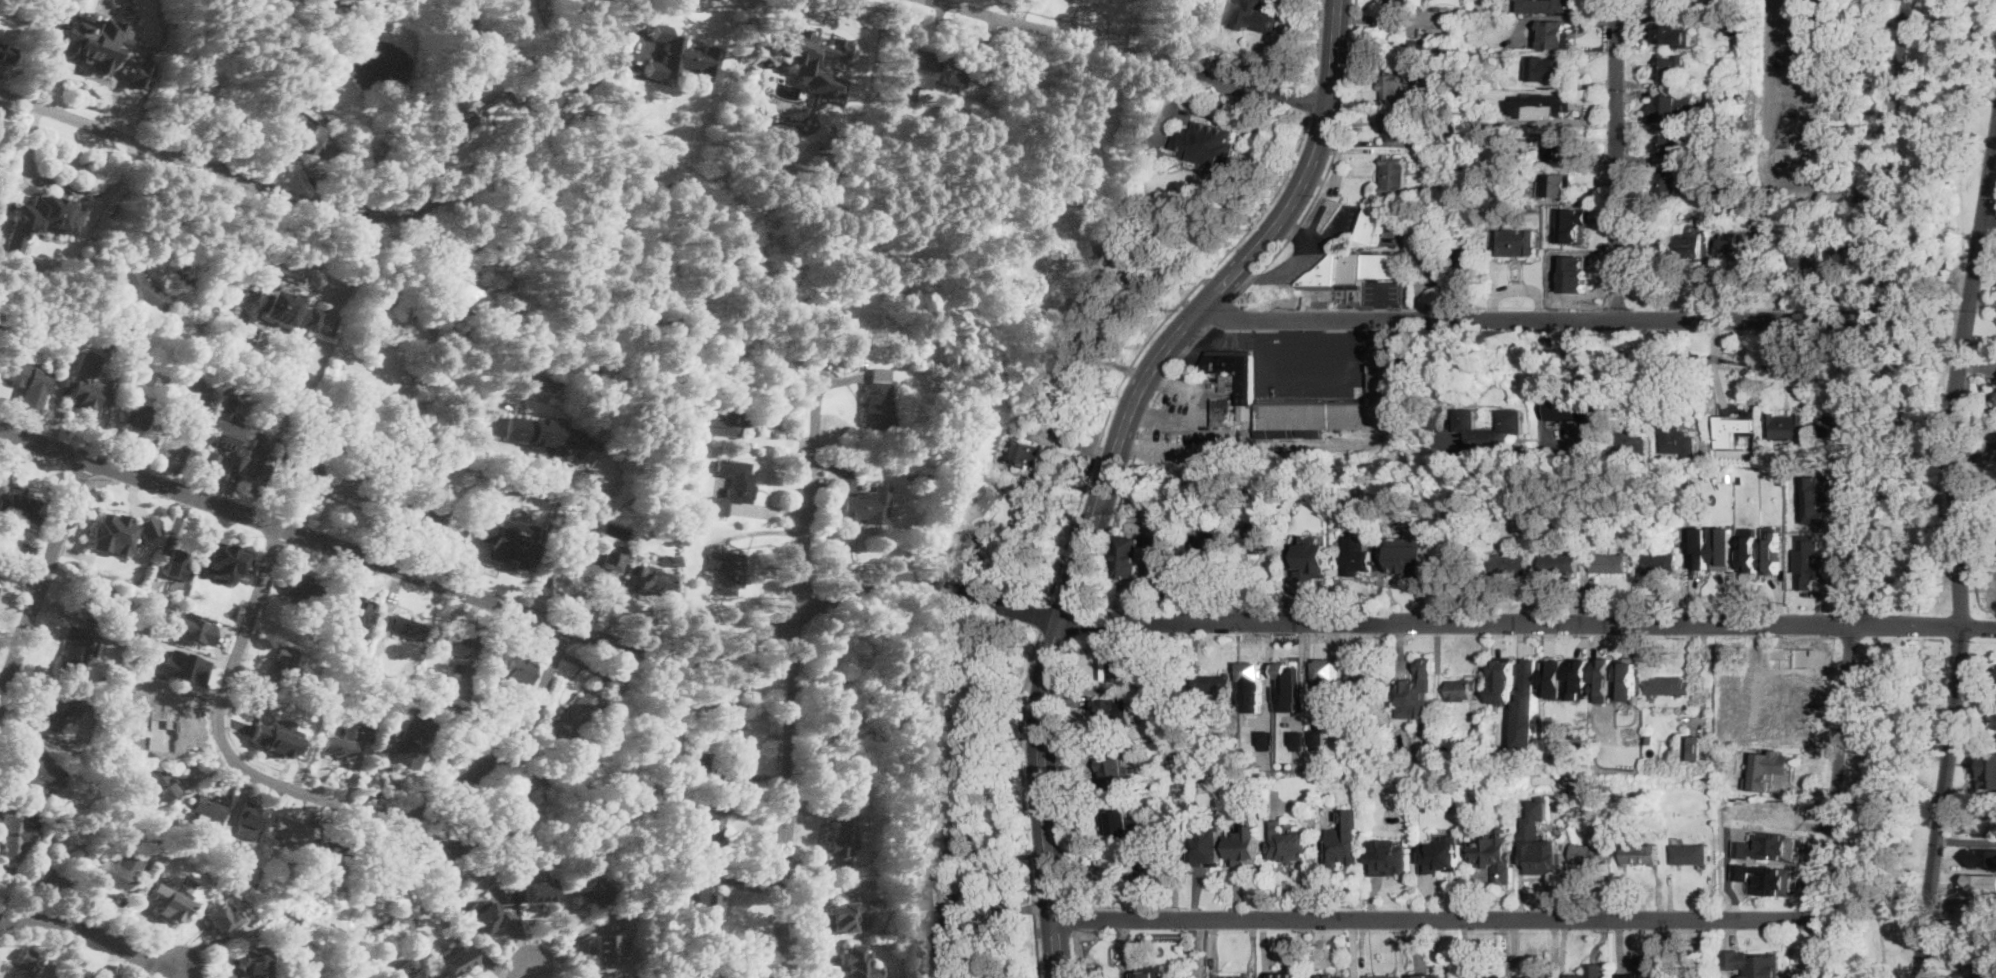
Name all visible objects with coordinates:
building: (1840, 0)
building: (1396, 2)
building: (1664, 2)
building: (1789, 2)
building: (1251, 5)
building: (1555, 7)
building: (1708, 7)
road: (593, 23)
building: (1736, 25)
building: (1553, 34)
building: (1664, 34)
building: (1798, 34)
building: (92, 43)
road: (1315, 45)
building: (821, 50)
building: (4, 53)
road: (1130, 53)
building: (1481, 54)
building: (1722, 54)
building: (682, 57)
building: (1667, 66)
building: (1556, 67)
building: (938, 68)
building: (868, 69)
building: (1805, 70)
building: (140, 73)
building: (1391, 84)
building: (1744, 95)
building: (1728, 96)
road: (1310, 101)
building: (1557, 108)
building: (1664, 108)
building: (1805, 108)
building: (1103, 115)
building: (452, 126)
building: (1390, 126)
building: (303, 139)
building: (1213, 144)
building: (1804, 144)
building: (1554, 146)
building: (1672, 146)
road: (1615, 159)
road: (1331, 165)
building: (1394, 175)
building: (1799, 179)
building: (1666, 185)
building: (1556, 186)
road: (63, 187)
building: (1727, 189)
building: (1044, 193)
building: (1403, 209)
building: (1700, 211)
road: (354, 213)
building: (1715, 214)
building: (1557, 217)
road: (1990, 217)
building: (41, 218)
building: (1372, 225)
building: (1850, 233)
building: (1515, 240)
building: (1573, 241)
road: (1314, 242)
building: (1650, 243)
building: (1686, 244)
road: (1232, 246)
building: (1431, 246)
building: (1727, 246)
building: (1762, 247)
building: (1805, 253)
building: (1055, 254)
building: (1468, 257)
road: (244, 261)
building: (468, 262)
building: (1836, 264)
road: (223, 265)
road: (514, 269)
building: (1352, 270)
road: (1278, 272)
road: (1934, 287)
building: (453, 290)
building: (143, 293)
park: (1926, 293)
building: (277, 305)
building: (2, 314)
road: (1223, 314)
road: (1902, 316)
road: (1536, 318)
road: (1303, 338)
road: (1659, 343)
road: (1092, 350)
road: (1126, 371)
building: (28, 377)
building: (1234, 377)
building: (185, 381)
building: (1995, 391)
building: (86, 397)
road: (1543, 397)
building: (1716, 397)
building: (878, 402)
building: (1331, 408)
building: (1581, 408)
road: (1109, 411)
road: (1202, 412)
building: (1224, 412)
building: (670, 415)
building: (137, 416)
building: (724, 416)
building: (1731, 420)
building: (1832, 421)
building: (1787, 427)
building: (223, 428)
building: (339, 428)
building: (186, 429)
building: (1489, 430)
building: (253, 433)
building: (549, 438)
building: (1633, 440)
building: (1676, 441)
building: (1819, 443)
building: (225, 449)
building: (1021, 452)
road: (1097, 452)
building: (1525, 456)
road: (1135, 458)
road: (1862, 458)
building: (208, 459)
road: (1112, 460)
building: (297, 469)
building: (922, 477)
building: (1695, 482)
building: (845, 485)
building: (734, 486)
road: (1939, 488)
building: (356, 489)
building: (1699, 494)
building: (1818, 498)
building: (983, 504)
building: (866, 507)
building: (21, 510)
building: (423, 516)
building: (593, 522)
road: (1072, 531)
building: (118, 532)
building: (506, 541)
building: (1260, 542)
building: (1340, 542)
building: (1210, 545)
building: (1308, 546)
building: (1698, 548)
building: (1723, 548)
building: (1163, 549)
building: (1750, 549)
building: (1771, 550)
building: (1409, 553)
building: (1460, 556)
road: (1958, 557)
building: (1131, 558)
building: (614, 559)
building: (1359, 560)
building: (1708, 561)
building: (1509, 563)
building: (1560, 563)
building: (1612, 563)
building: (1661, 564)
building: (1759, 564)
building: (1811, 565)
building: (179, 566)
building: (576, 570)
building: (728, 572)
building: (224, 573)
road: (43, 579)
building: (654, 580)
building: (301, 589)
road: (971, 593)
building: (96, 604)
road: (1069, 604)
road: (1133, 606)
building: (351, 609)
road: (1084, 619)
building: (190, 628)
building: (403, 628)
building: (144, 630)
road: (965, 637)
building: (455, 644)
building: (180, 650)
building: (76, 652)
building: (180, 666)
road: (795, 666)
building: (287, 667)
building: (1118, 670)
building: (1773, 670)
building: (125, 673)
building: (519, 673)
road: (1703, 676)
building: (1553, 677)
building: (1578, 678)
building: (1604, 679)
building: (1503, 680)
building: (1147, 683)
building: (1325, 683)
building: (616, 684)
building: (1365, 684)
building: (1250, 685)
building: (1286, 685)
building: (1567, 685)
building: (1670, 685)
building: (1216, 686)
building: (1624, 686)
building: (1462, 689)
building: (1416, 690)
building: (915, 696)
building: (502, 708)
building: (161, 710)
building: (1528, 710)
building: (56, 713)
building: (1110, 713)
building: (575, 715)
building: (939, 716)
building: (1994, 721)
building: (903, 726)
building: (387, 733)
building: (276, 737)
building: (1263, 739)
building: (1649, 739)
building: (1296, 740)
building: (412, 745)
building: (1128, 747)
building: (1695, 748)
building: (343, 749)
building: (379, 754)
building: (1236, 763)
road: (1061, 768)
building: (1767, 768)
building: (708, 769)
building: (1988, 769)
building: (472, 775)
building: (1116, 775)
building: (36, 776)
building: (154, 782)
building: (374, 792)
road: (323, 801)
building: (507, 803)
park: (1889, 805)
building: (921, 806)
building: (208, 809)
building: (654, 809)
building: (249, 820)
building: (1118, 821)
building: (1989, 821)
building: (291, 830)
building: (841, 834)
building: (1344, 839)
building: (709, 840)
building: (22, 841)
building: (1540, 842)
building: (1205, 844)
building: (346, 846)
building: (1243, 846)
building: (1768, 846)
building: (1489, 850)
building: (1171, 851)
building: (1441, 852)
building: (80, 853)
building: (1290, 853)
building: (1641, 853)
building: (1591, 854)
building: (1691, 854)
building: (430, 856)
building: (1385, 856)
building: (1982, 857)
road: (1323, 865)
building: (1146, 868)
building: (117, 872)
building: (1987, 875)
building: (1765, 878)
building: (594, 891)
road: (1238, 891)
building: (541, 894)
building: (928, 896)
building: (165, 903)
building: (702, 904)
road: (1000, 904)
building: (849, 916)
building: (220, 918)
road: (1438, 918)
building: (484, 919)
road: (1072, 919)
building: (1985, 919)
building: (919, 922)
road: (93, 931)
building: (949, 940)
road: (1821, 947)
building: (604, 950)
road: (1075, 954)
building: (255, 962)
building: (1754, 962)
building: (457, 963)
building: (859, 963)
building: (26, 965)
building: (1981, 965)
building: (411, 971)
building: (1147, 971)
road: (189, 972)
road: (523, 972)
building: (715, 972)
building: (1233, 975)
building: (1435, 975)
building: (1284, 976)
building: (1334, 976)
building: (1385, 976)
building: (1484, 976)
building: (1534, 976)
building: (1584, 976)
building: (1674, 976)
building: (71, 977)
building: (1635, 977)
building: (1682, 977)

